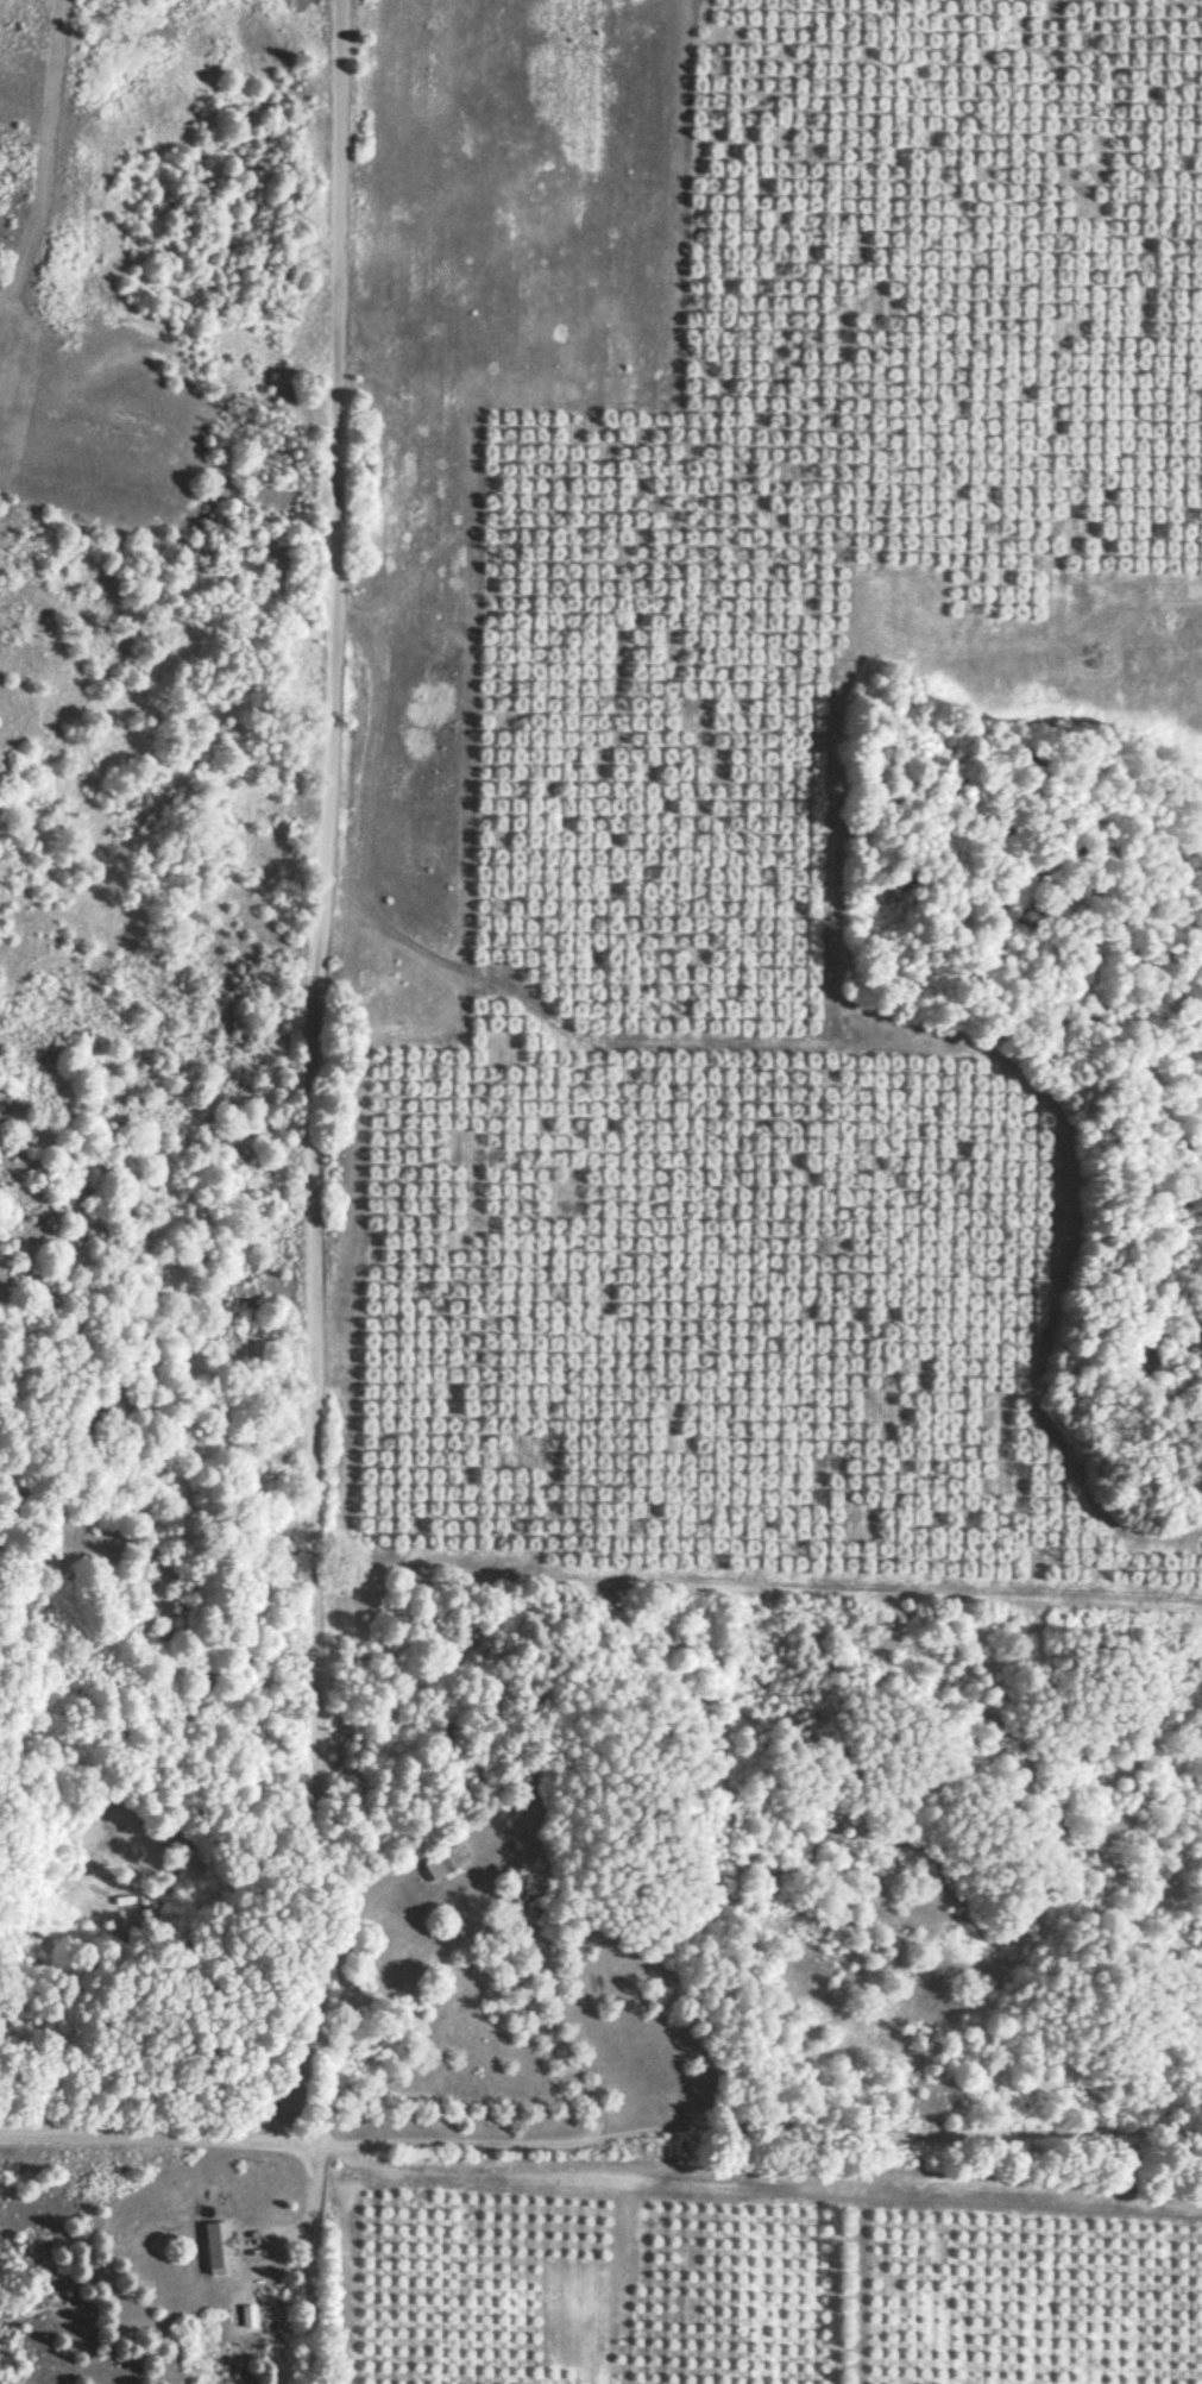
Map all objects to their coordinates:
road: (325, 1192)
building: (445, 1862)
building: (521, 1916)
road: (515, 2031)
road: (599, 2119)
building: (216, 2248)

